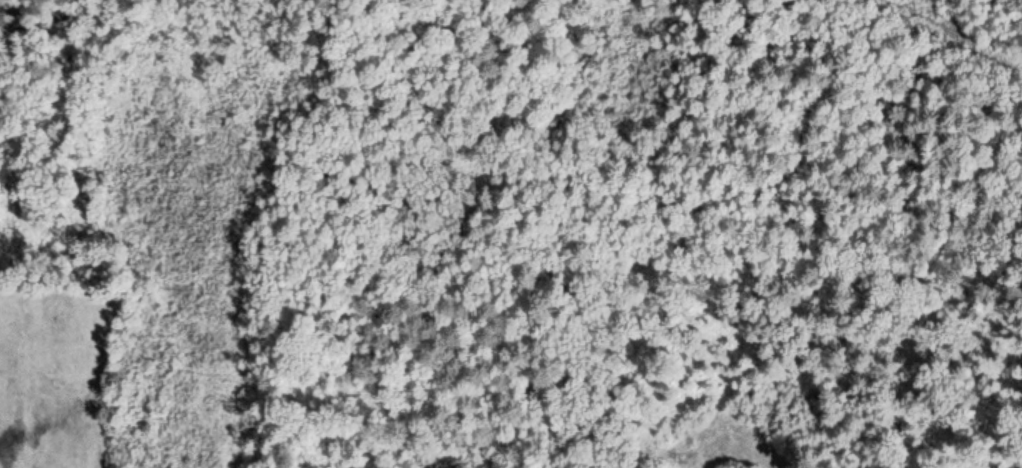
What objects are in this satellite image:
railway: (955, 34)

